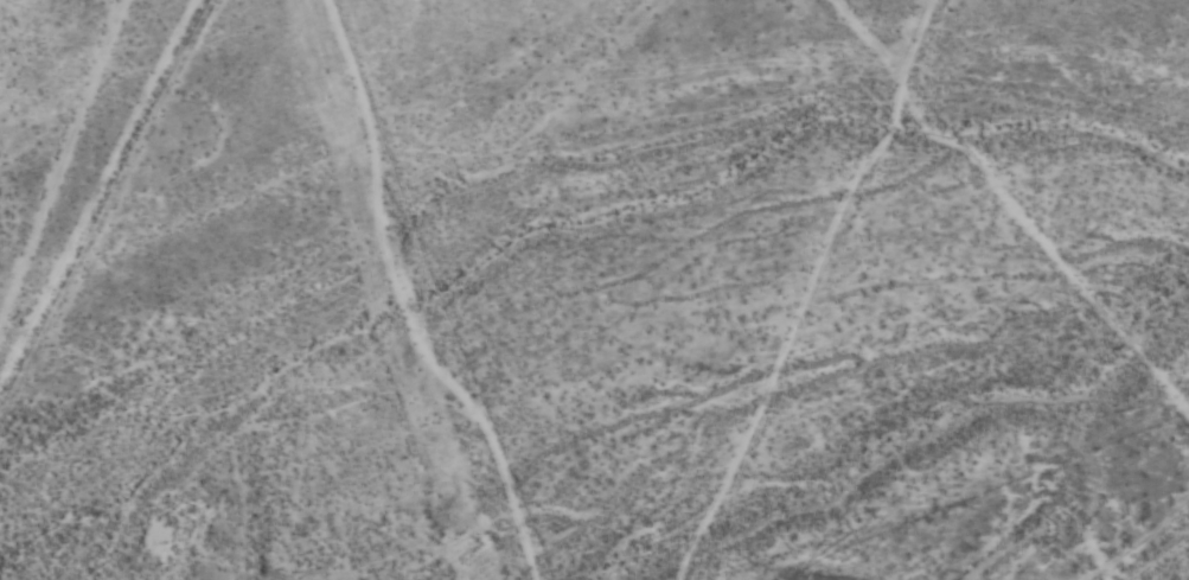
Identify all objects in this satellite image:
road: (95, 189)

